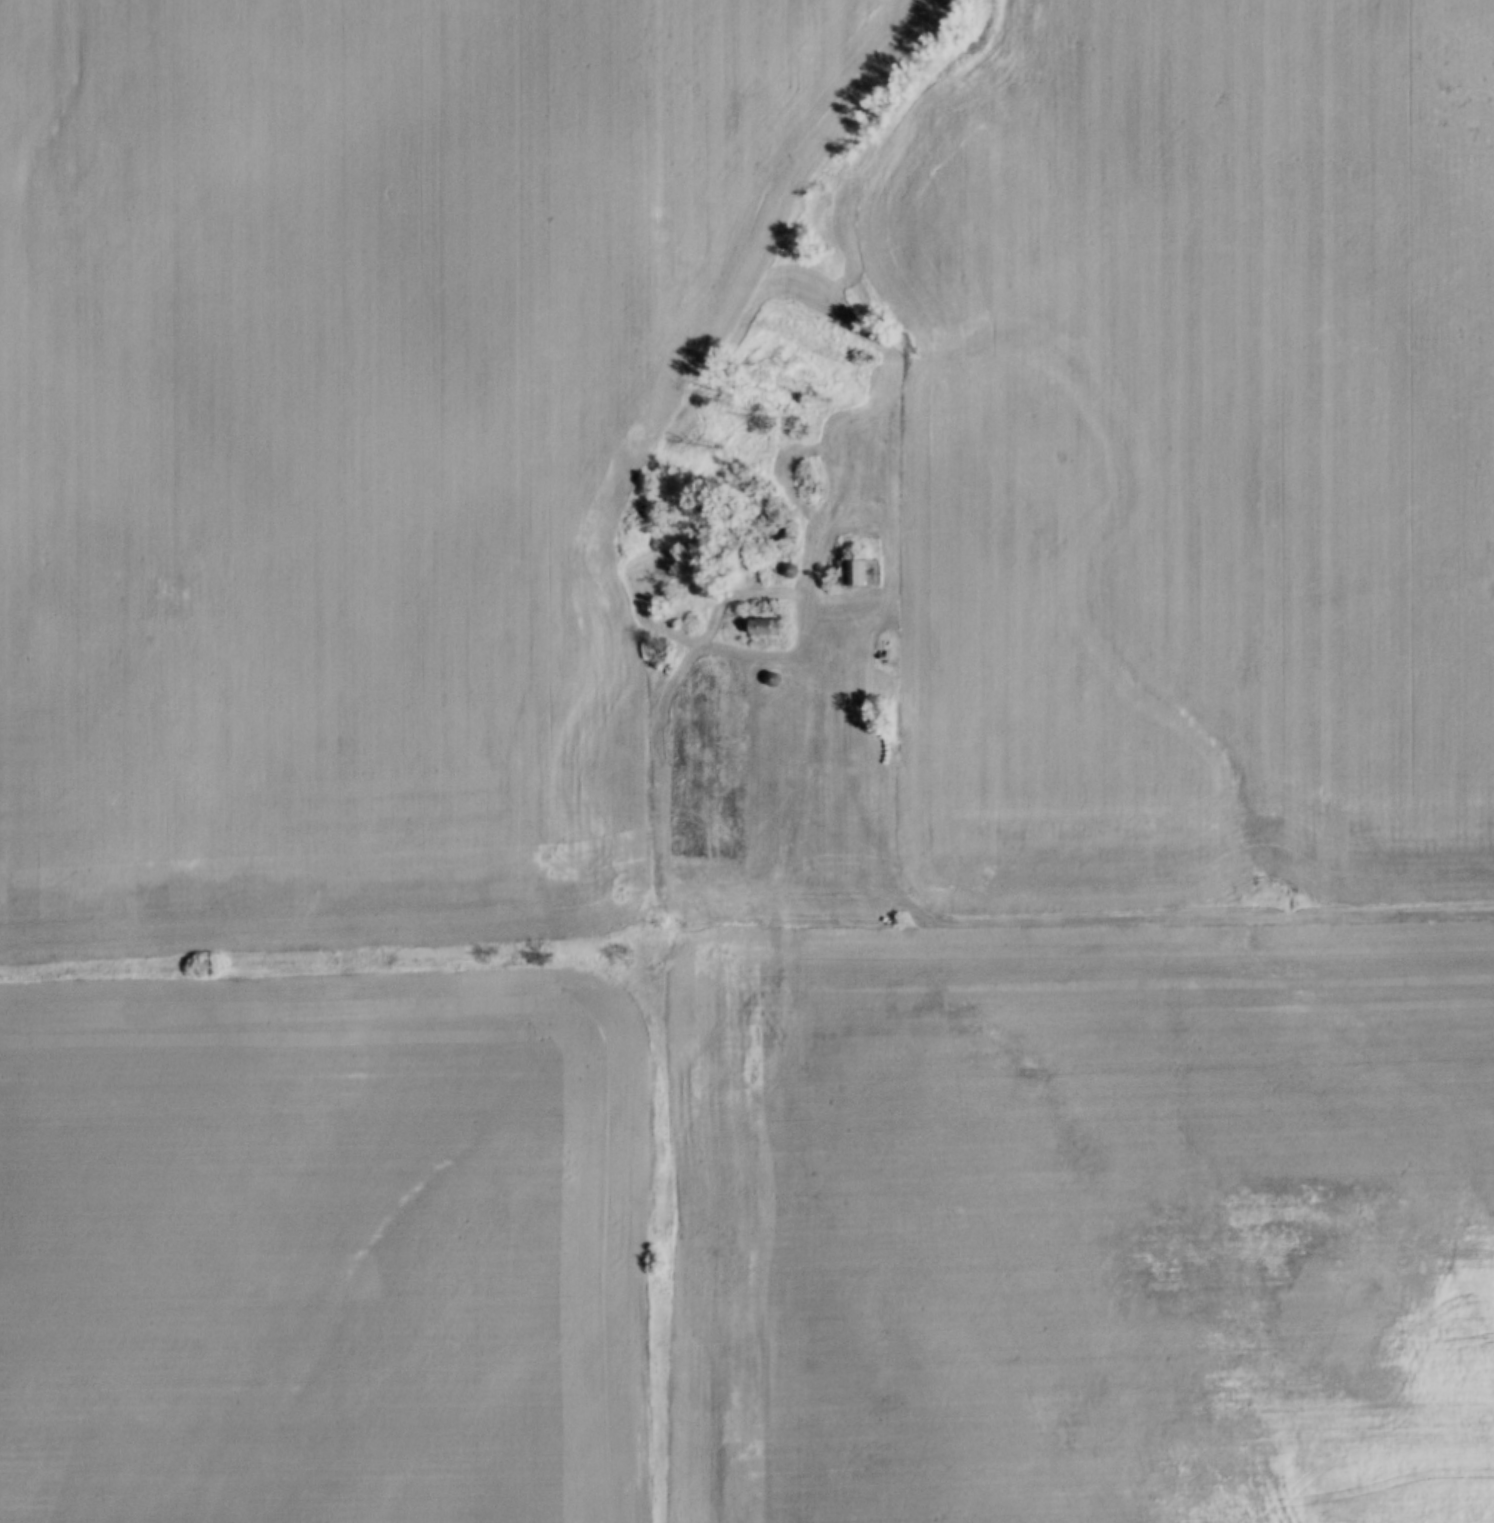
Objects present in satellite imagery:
building: (857, 573)
building: (765, 628)
road: (1137, 922)
road: (786, 1062)

